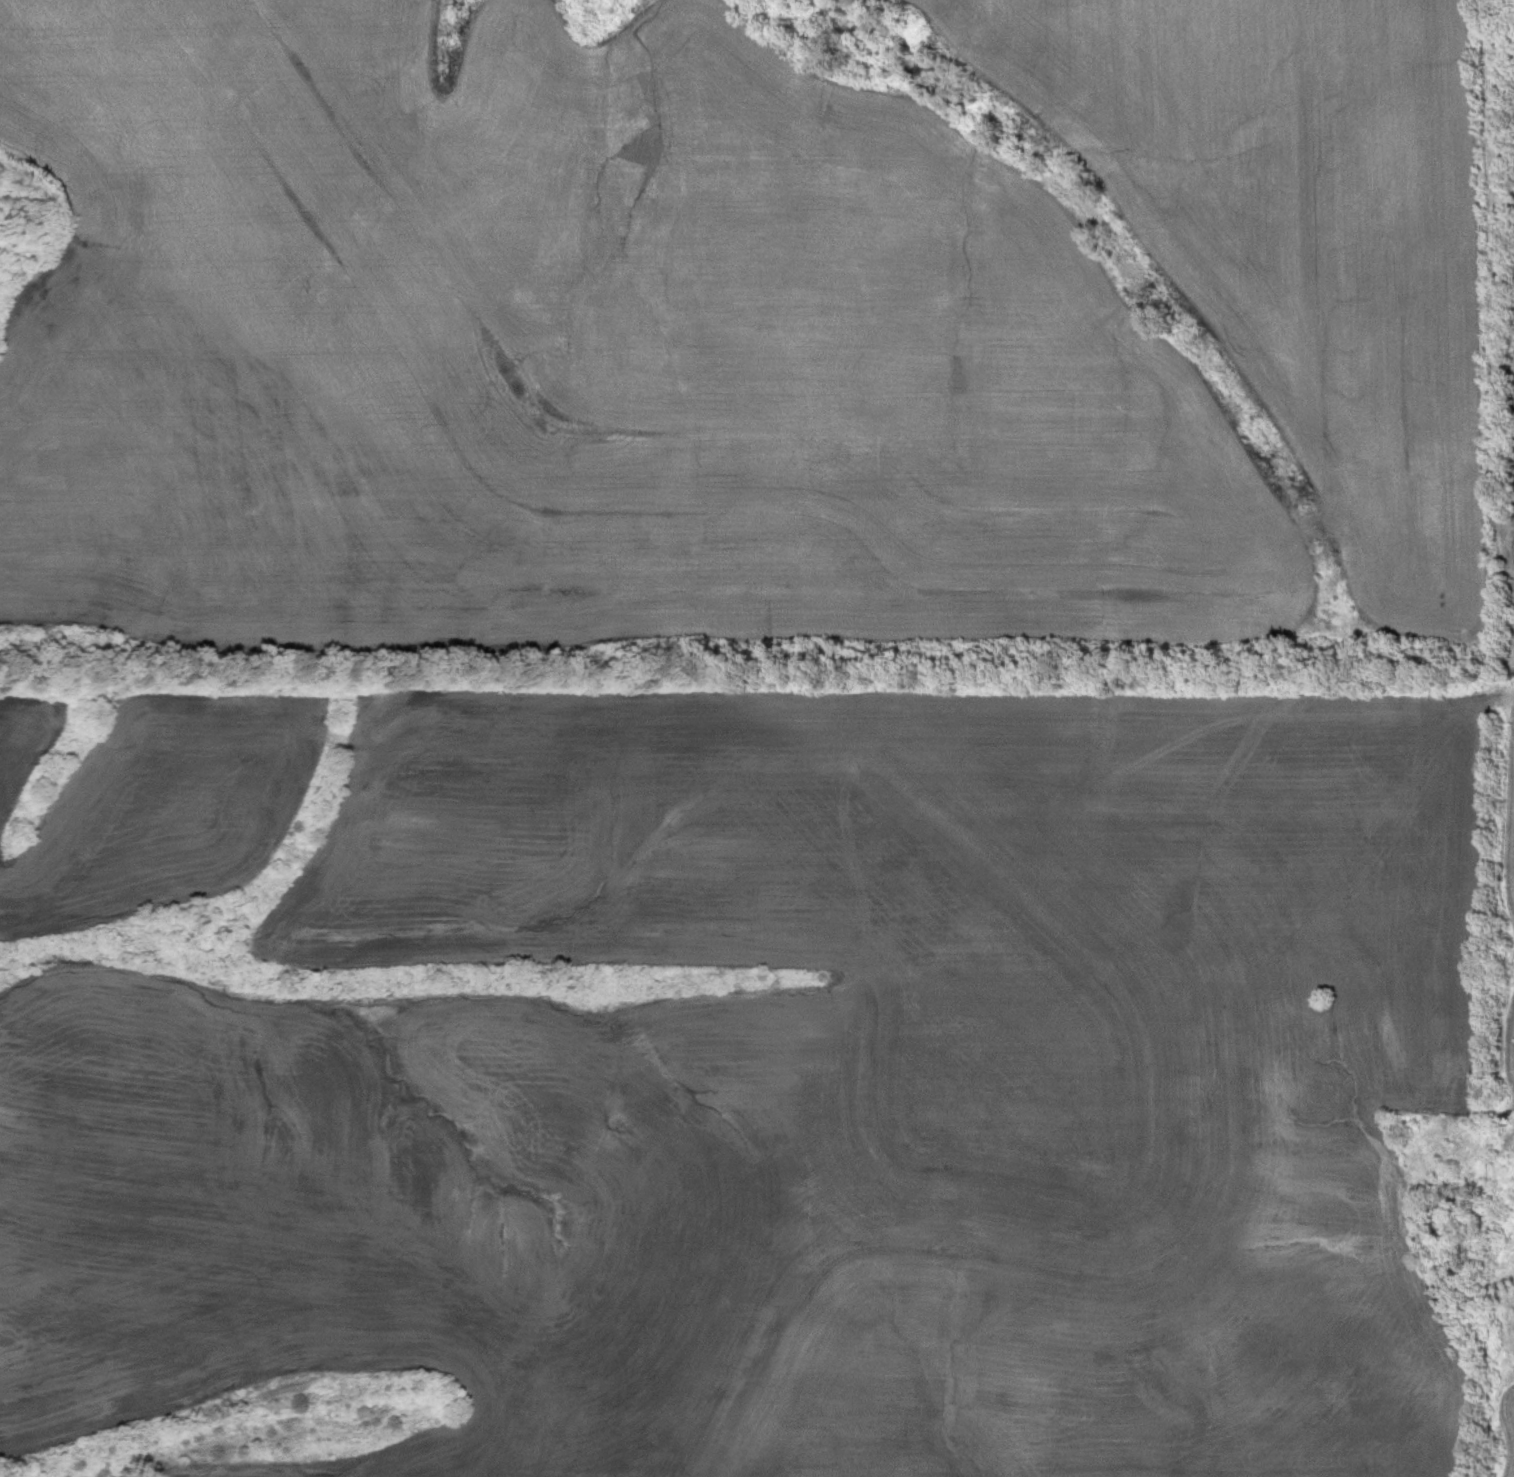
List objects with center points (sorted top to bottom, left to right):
building: (1506, 1135)

